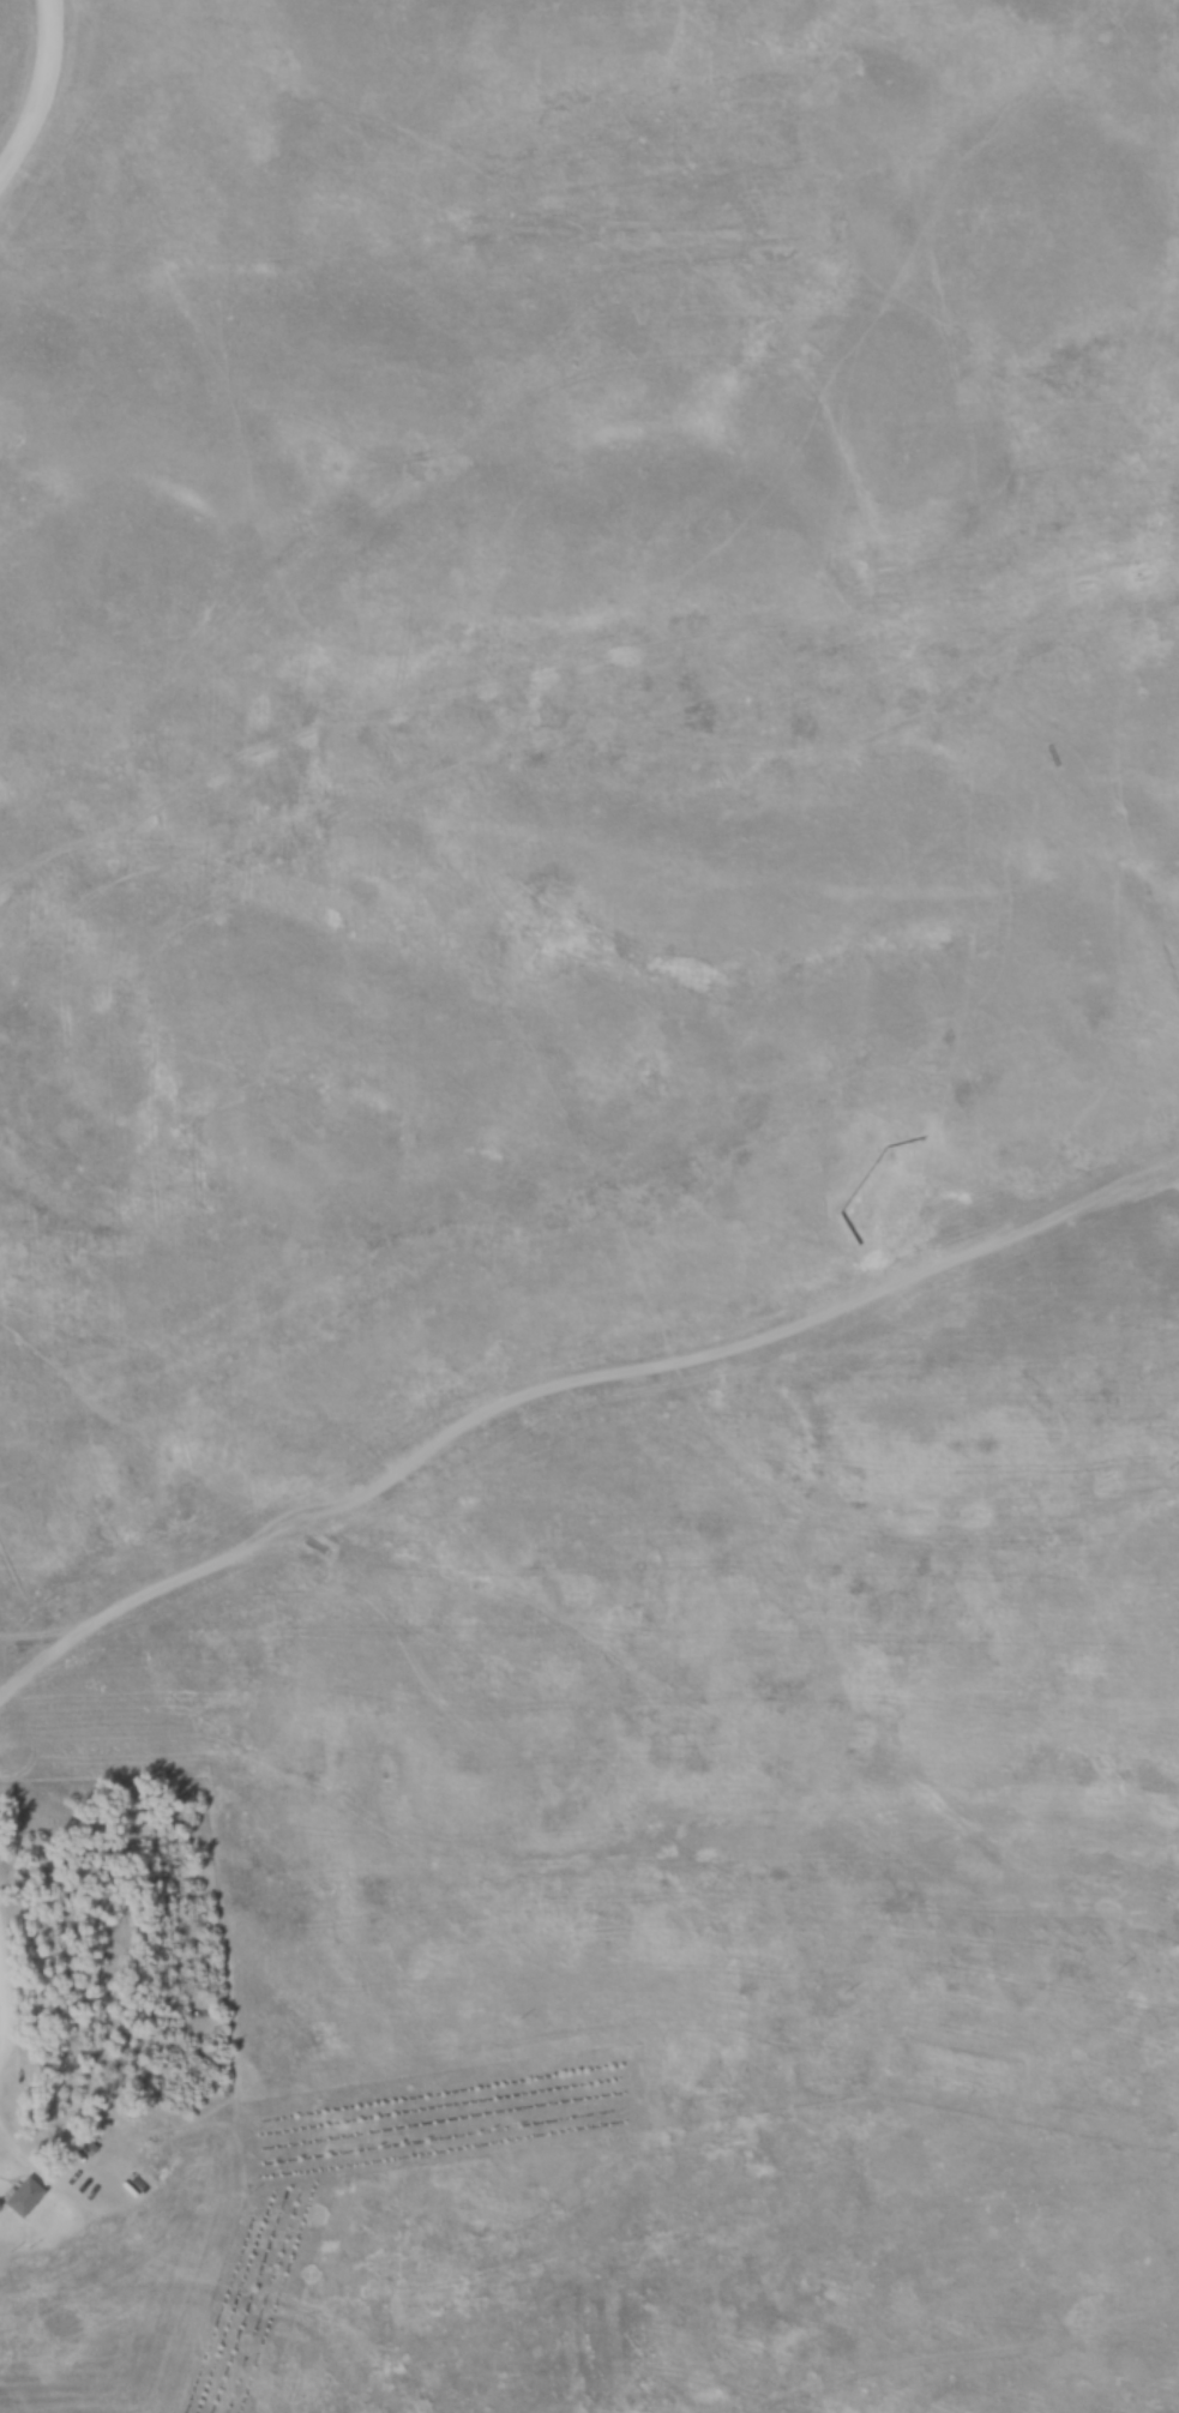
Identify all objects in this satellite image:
road: (29, 78)
road: (578, 1392)
road: (55, 1669)
road: (0, 2012)
road: (36, 2183)
building: (32, 2196)

